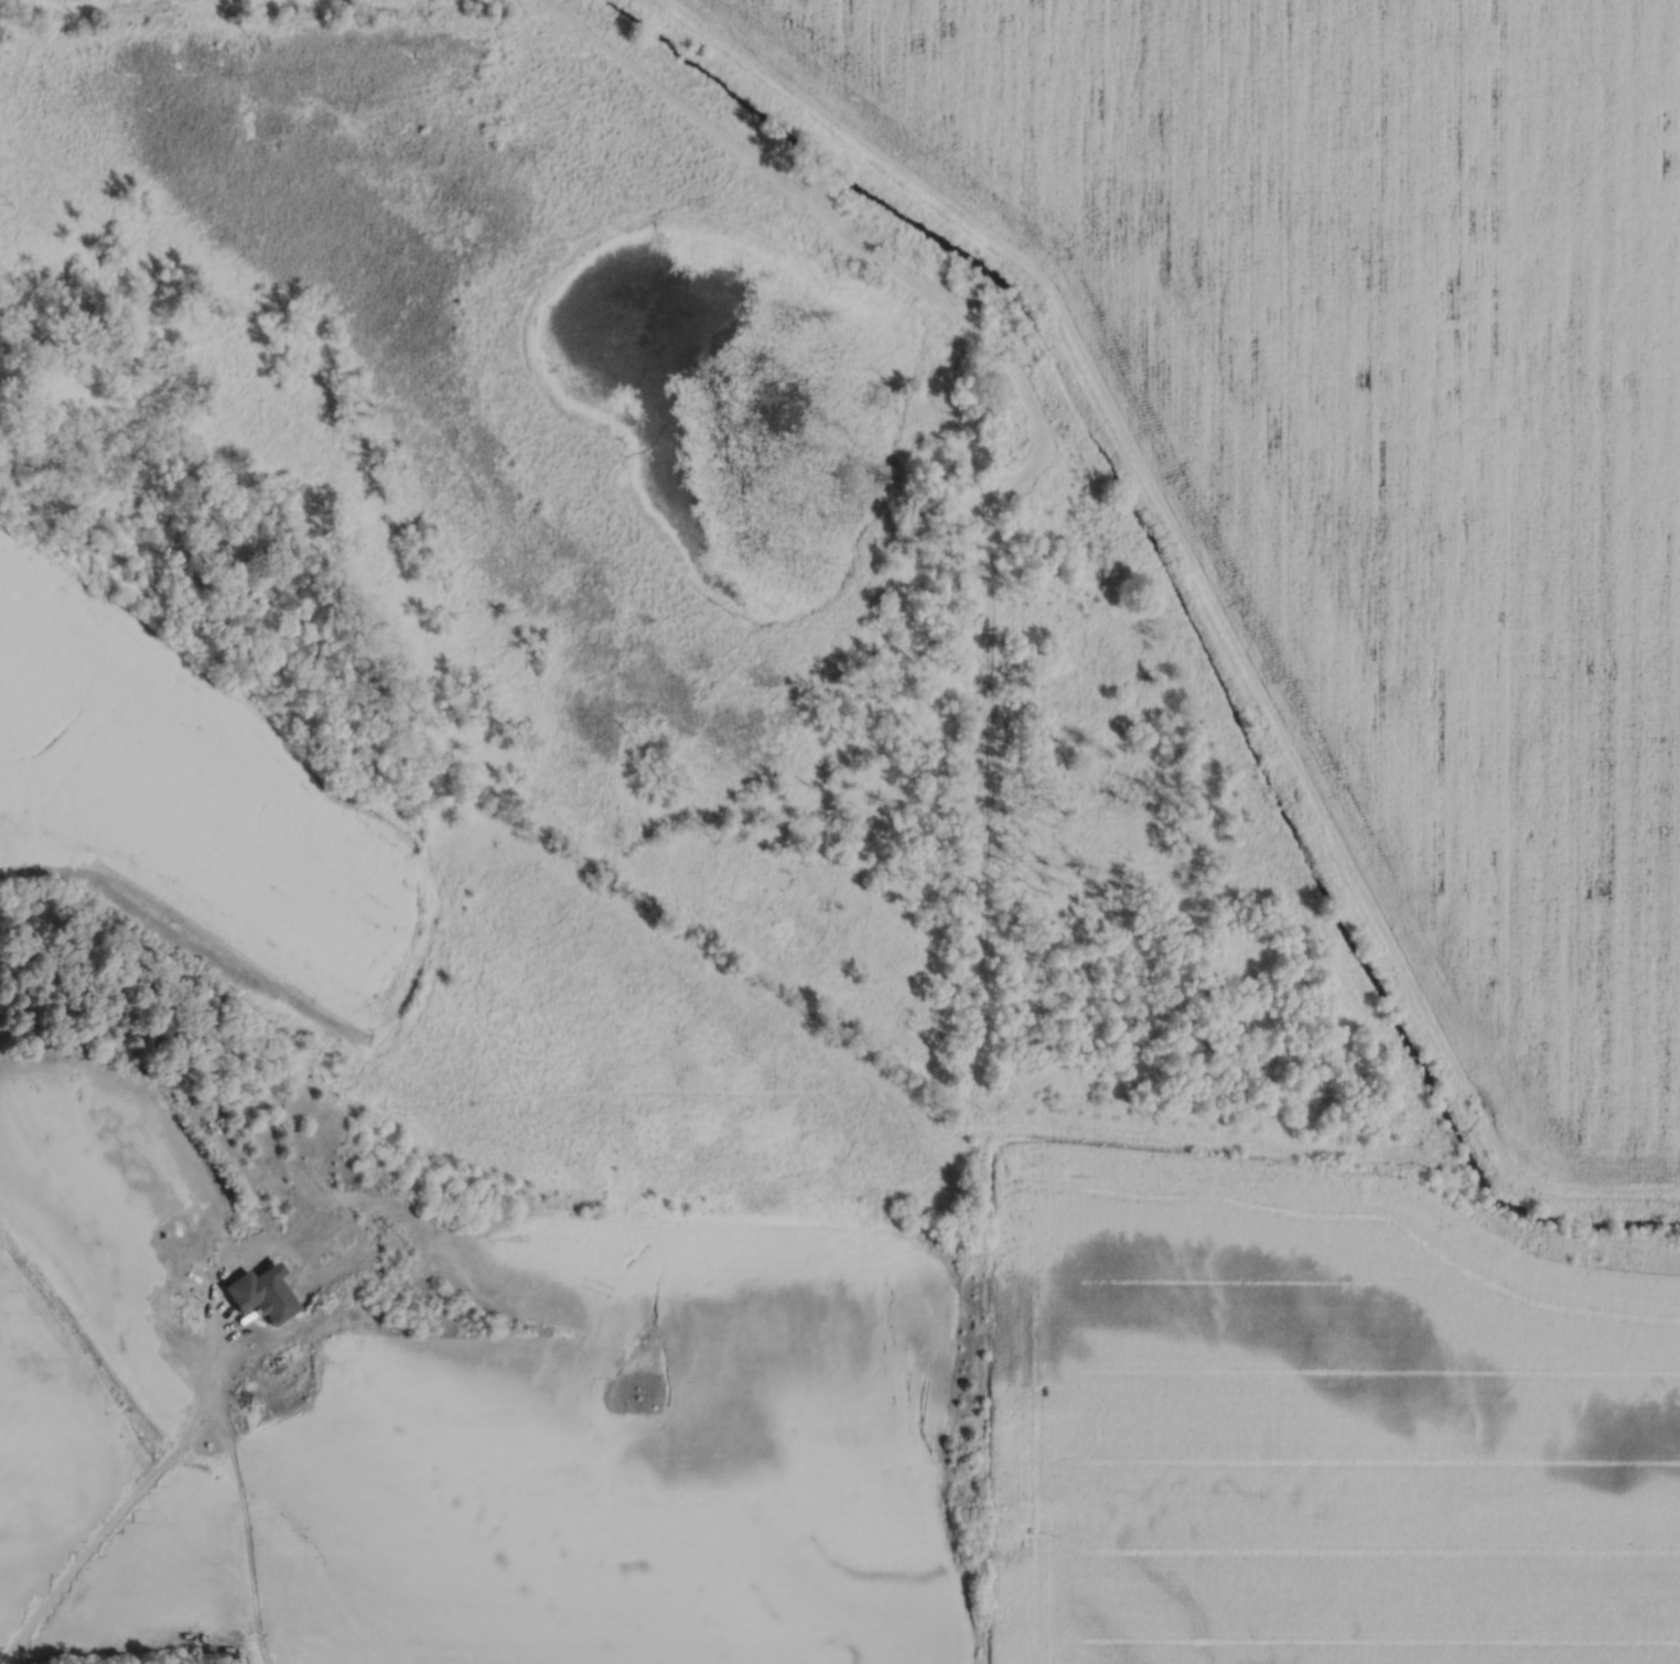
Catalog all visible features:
road: (127, 1503)

